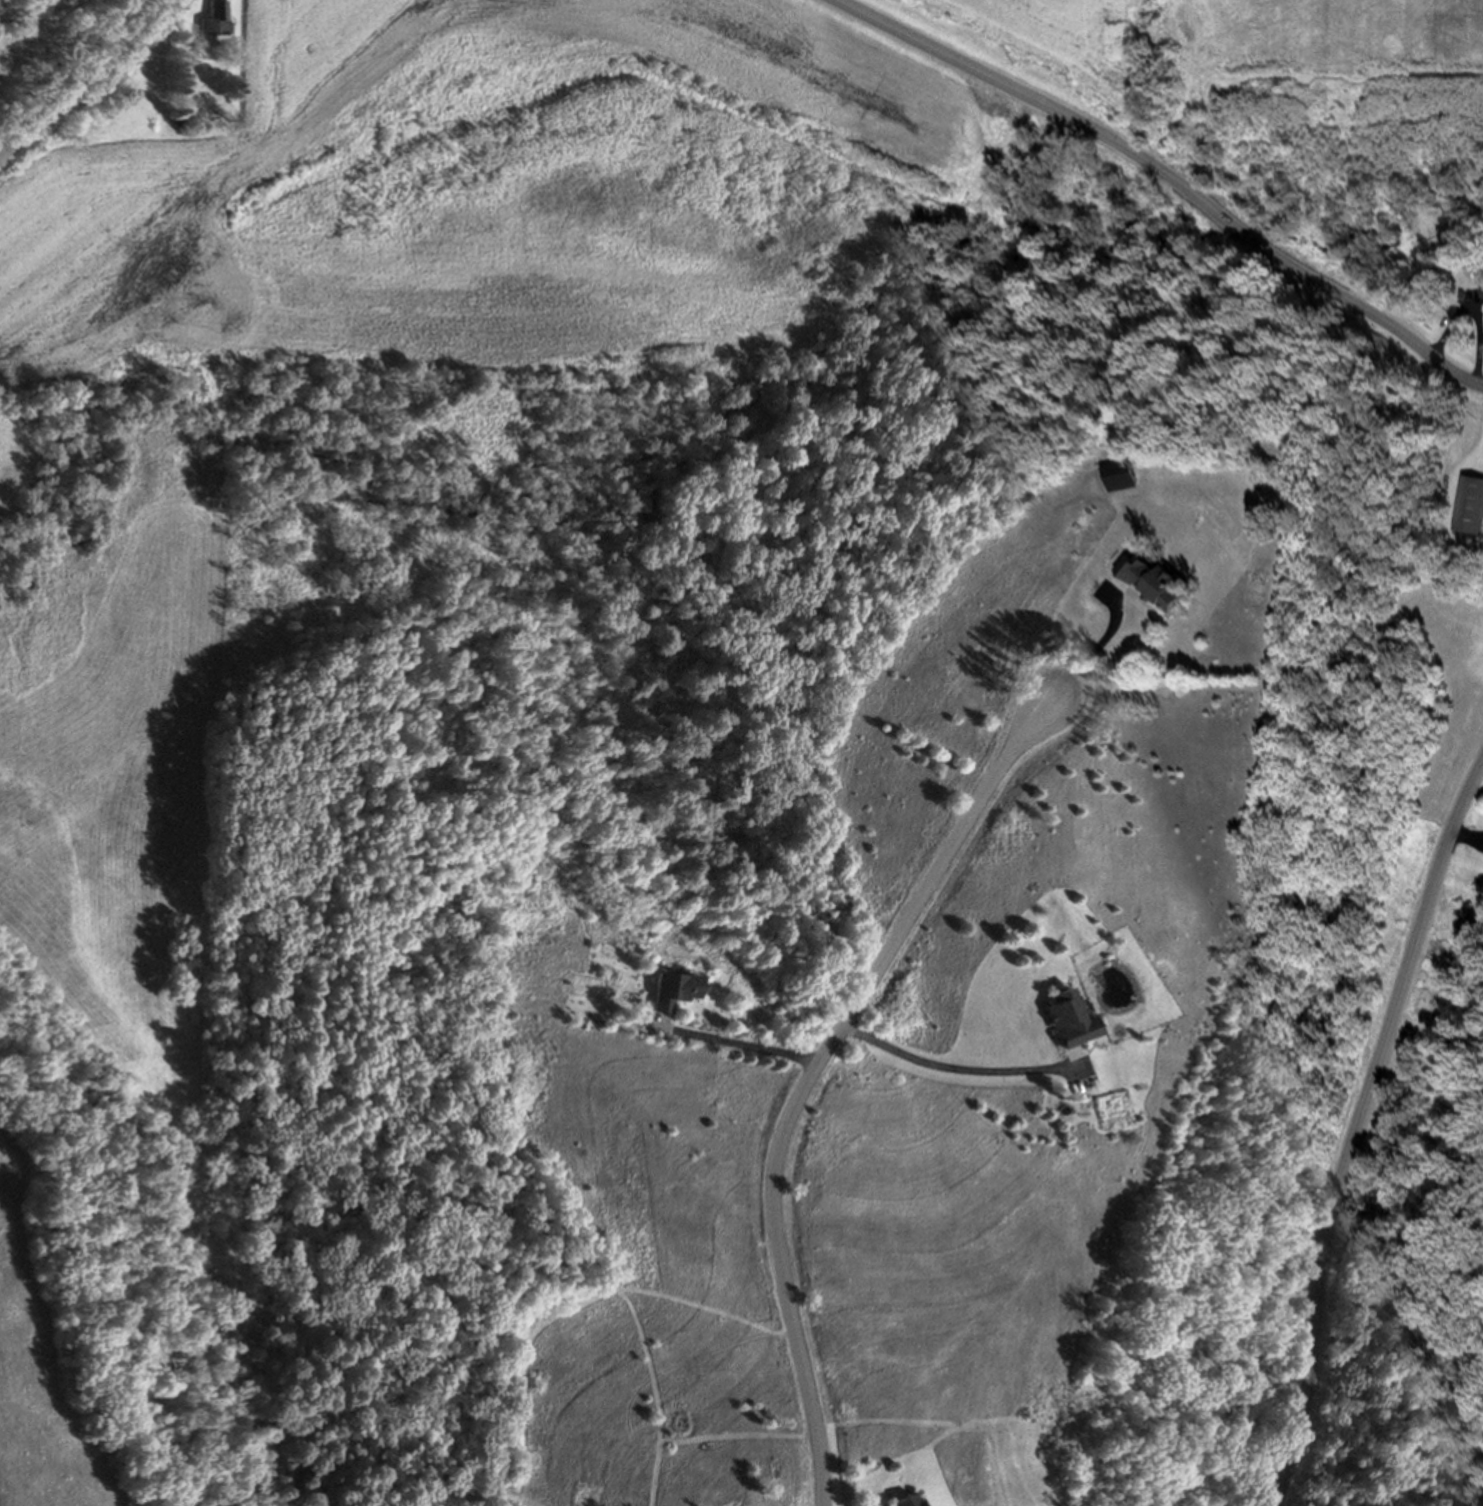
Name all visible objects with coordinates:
building: (217, 22)
road: (94, 82)
road: (1171, 178)
building: (1482, 292)
road: (1457, 318)
road: (1482, 376)
building: (1123, 477)
building: (1470, 510)
building: (1156, 585)
road: (1096, 650)
building: (674, 995)
building: (1065, 1026)
road: (740, 1045)
road: (959, 1068)
road: (816, 1071)
road: (1358, 1126)
building: (905, 1503)

